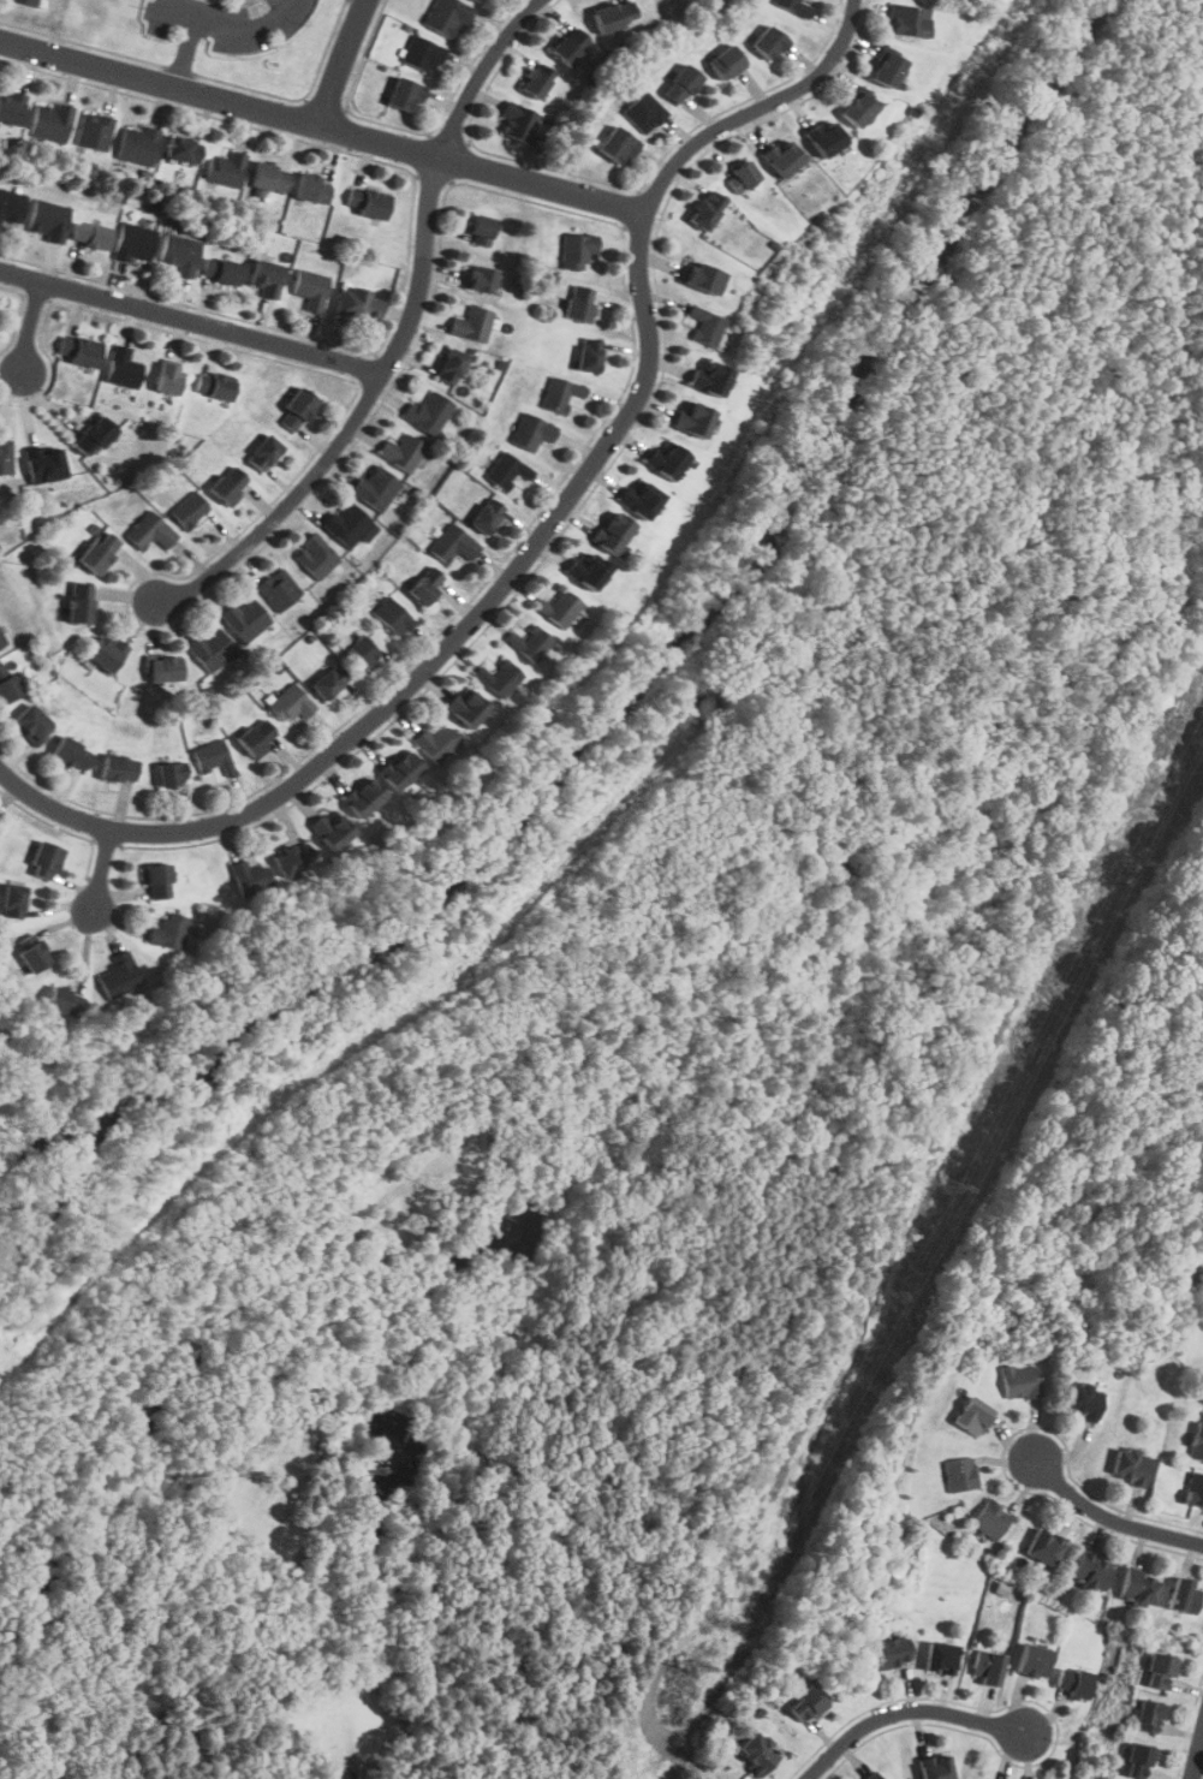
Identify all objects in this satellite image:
building: (477, 1)
building: (25, 2)
building: (798, 7)
road: (173, 13)
building: (614, 14)
building: (446, 17)
building: (907, 19)
road: (231, 28)
building: (769, 41)
building: (570, 44)
building: (423, 54)
road: (341, 61)
building: (726, 61)
road: (178, 69)
building: (888, 69)
building: (535, 79)
building: (681, 83)
building: (404, 94)
building: (11, 108)
building: (858, 108)
building: (644, 112)
building: (50, 121)
building: (518, 121)
road: (321, 125)
building: (95, 131)
building: (826, 137)
building: (137, 144)
building: (617, 144)
building: (184, 149)
building: (784, 157)
building: (227, 169)
building: (269, 175)
building: (742, 175)
building: (311, 188)
building: (367, 202)
building: (11, 204)
building: (704, 209)
building: (48, 220)
building: (480, 230)
building: (90, 233)
building: (135, 243)
building: (577, 249)
building: (180, 252)
building: (221, 270)
building: (703, 276)
building: (266, 278)
building: (478, 278)
building: (310, 287)
building: (359, 302)
building: (578, 303)
road: (193, 321)
road: (30, 325)
building: (472, 325)
building: (705, 325)
road: (404, 338)
building: (78, 349)
building: (589, 355)
building: (121, 367)
building: (451, 367)
building: (709, 377)
building: (167, 379)
building: (214, 385)
building: (560, 393)
building: (297, 409)
building: (429, 412)
building: (692, 417)
building: (531, 432)
building: (93, 435)
building: (263, 452)
building: (401, 452)
building: (5, 457)
building: (667, 460)
building: (44, 463)
building: (508, 470)
building: (228, 484)
building: (375, 488)
building: (641, 498)
building: (189, 510)
building: (486, 516)
building: (347, 524)
building: (150, 532)
building: (614, 532)
road: (538, 536)
building: (453, 545)
building: (97, 551)
building: (315, 557)
building: (586, 571)
building: (425, 584)
building: (278, 589)
building: (81, 602)
building: (559, 608)
building: (392, 617)
building: (246, 619)
building: (2, 641)
building: (530, 643)
building: (210, 648)
building: (362, 649)
building: (106, 653)
building: (163, 670)
building: (499, 678)
building: (328, 682)
building: (7, 684)
building: (291, 704)
building: (466, 707)
building: (31, 724)
building: (257, 738)
building: (435, 743)
building: (71, 754)
building: (213, 757)
building: (119, 768)
building: (400, 770)
building: (172, 774)
building: (364, 798)
building: (329, 829)
building: (291, 858)
building: (44, 861)
road: (101, 868)
building: (249, 877)
building: (156, 881)
building: (12, 900)
building: (168, 932)
building: (32, 956)
building: (119, 976)
building: (64, 1001)
power tower: (945, 1192)
building: (1020, 1382)
building: (1201, 1393)
building: (1083, 1399)
building: (971, 1416)
building: (1197, 1442)
building: (1130, 1466)
building: (958, 1474)
building: (1193, 1491)
road: (1109, 1518)
building: (990, 1519)
building: (1043, 1546)
building: (1090, 1571)
building: (1139, 1588)
building: (1186, 1596)
building: (892, 1653)
building: (941, 1658)
building: (1034, 1661)
building: (988, 1667)
power tower: (693, 1670)
building: (1161, 1671)
building: (1073, 1683)
building: (806, 1703)
road: (905, 1712)
building: (1150, 1716)
building: (758, 1753)
road: (1198, 1760)
building: (1137, 1761)
building: (936, 1767)
building: (874, 1777)

